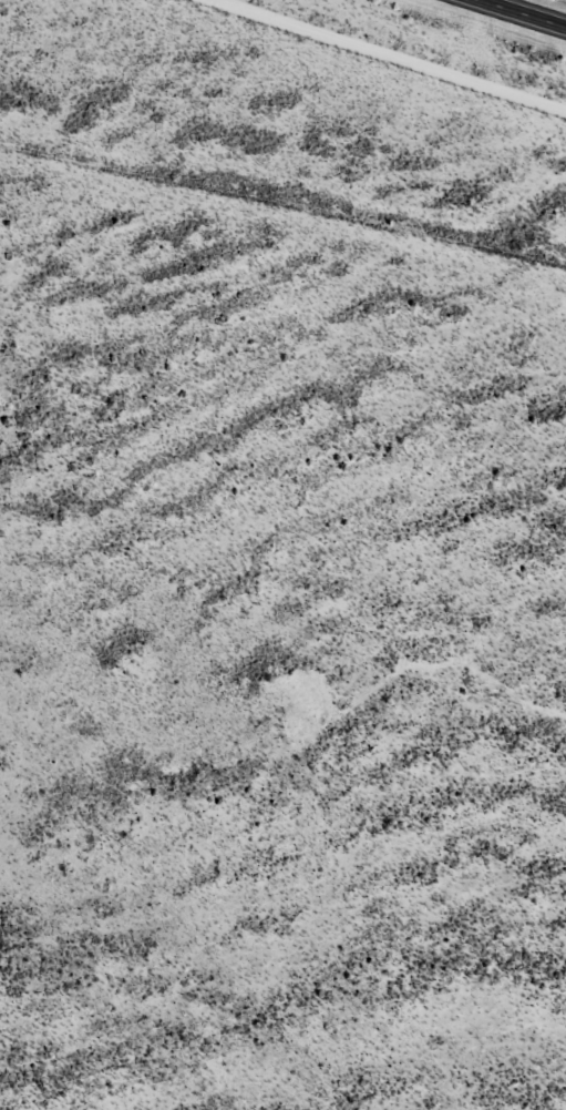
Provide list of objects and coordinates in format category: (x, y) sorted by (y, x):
road: (526, 11)
road: (282, 203)

